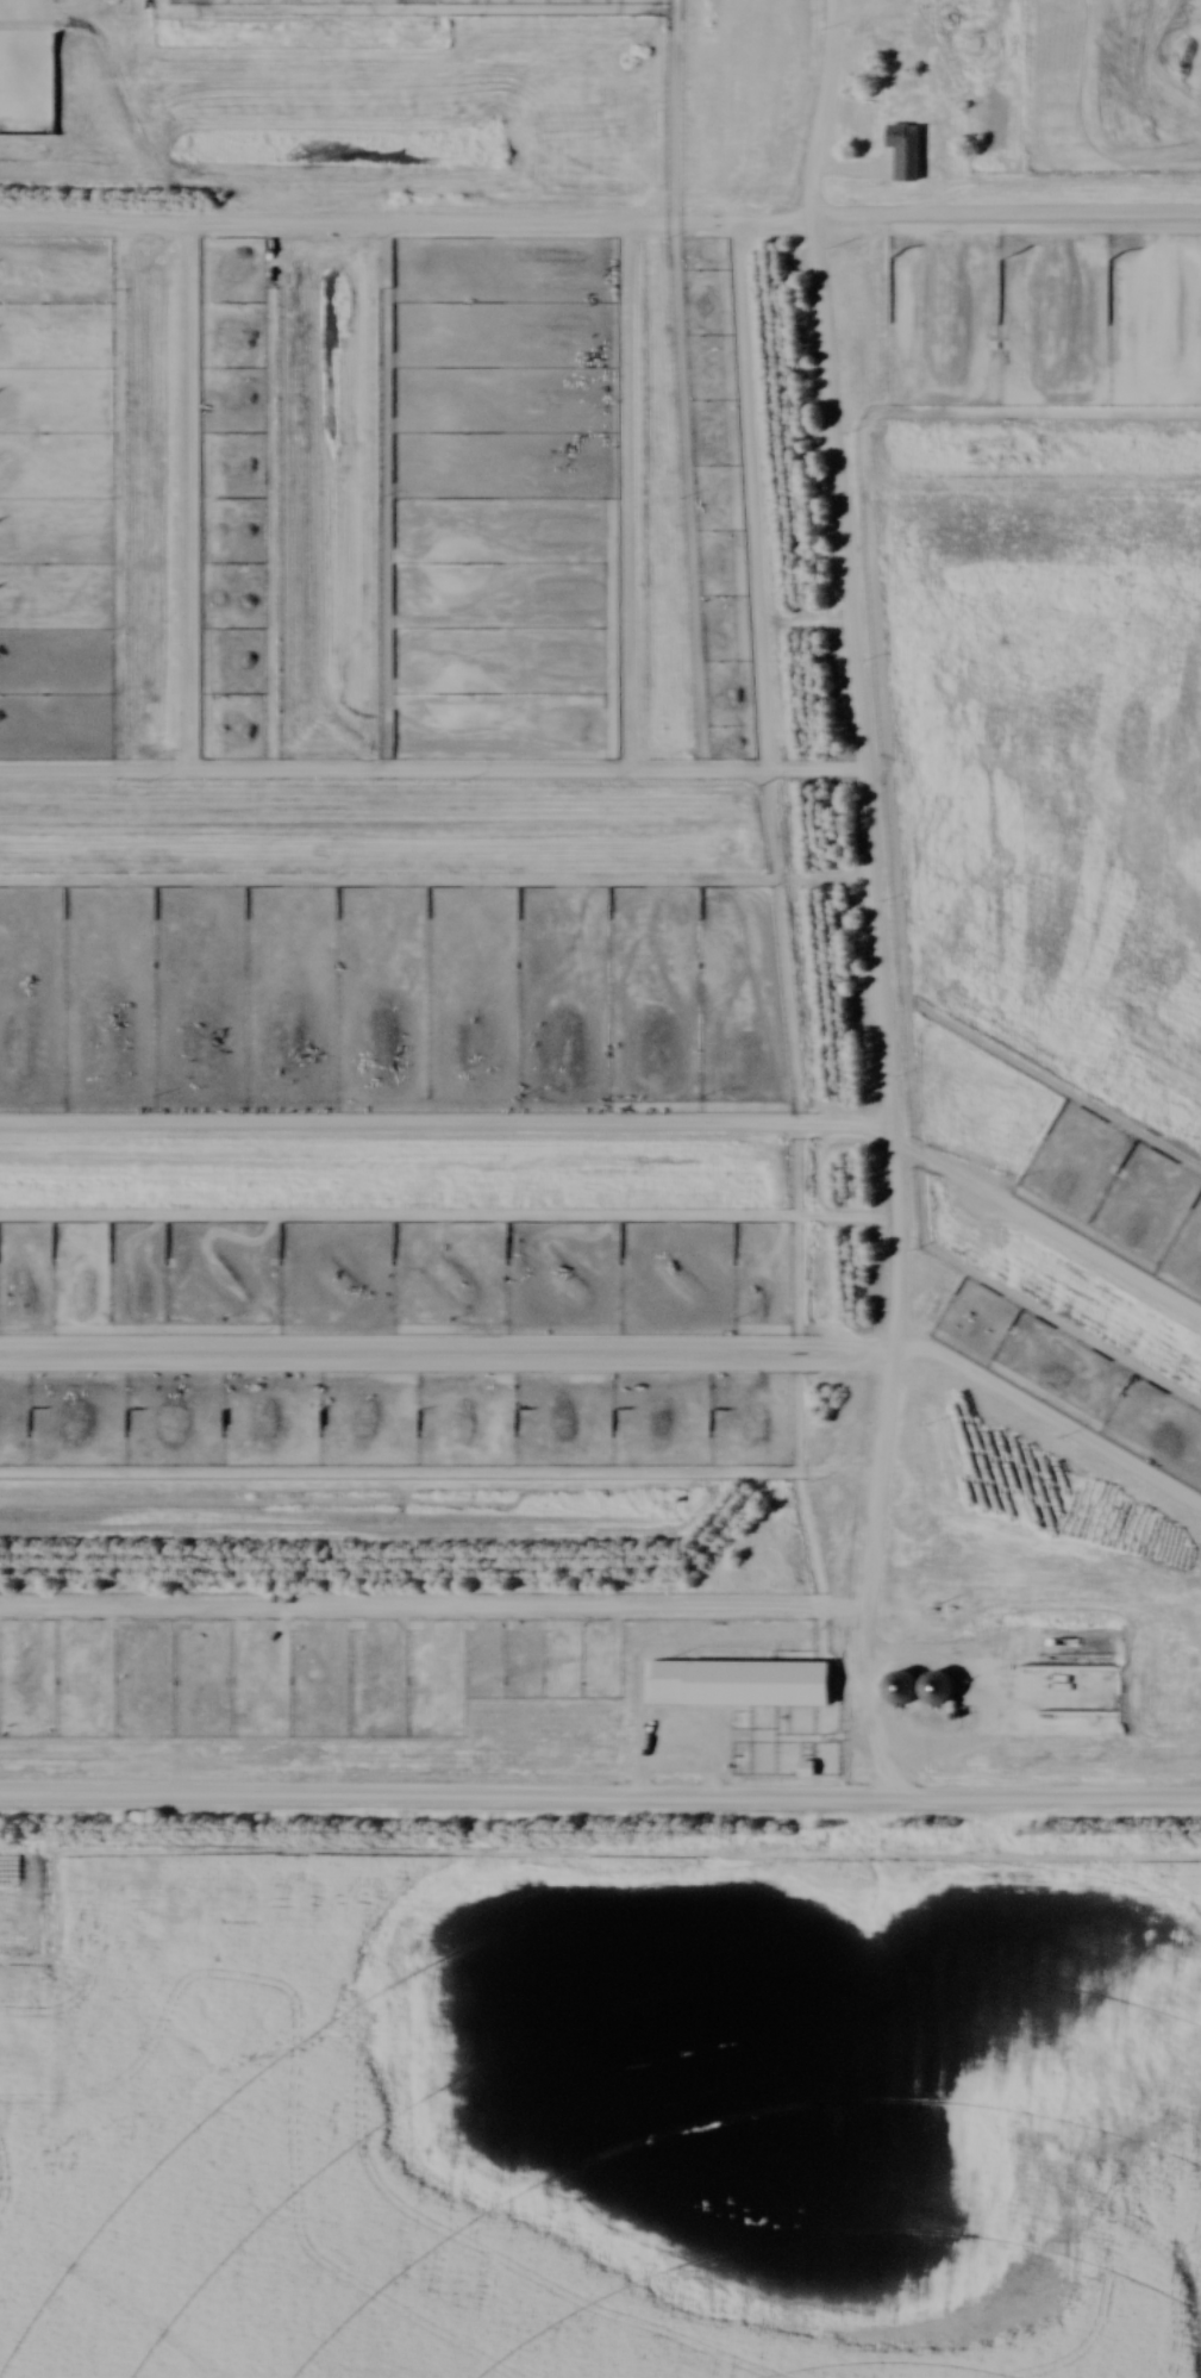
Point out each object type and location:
building: (902, 150)
building: (463, 194)
building: (737, 1683)
building: (897, 1683)
building: (519, 1748)
road: (600, 1792)

